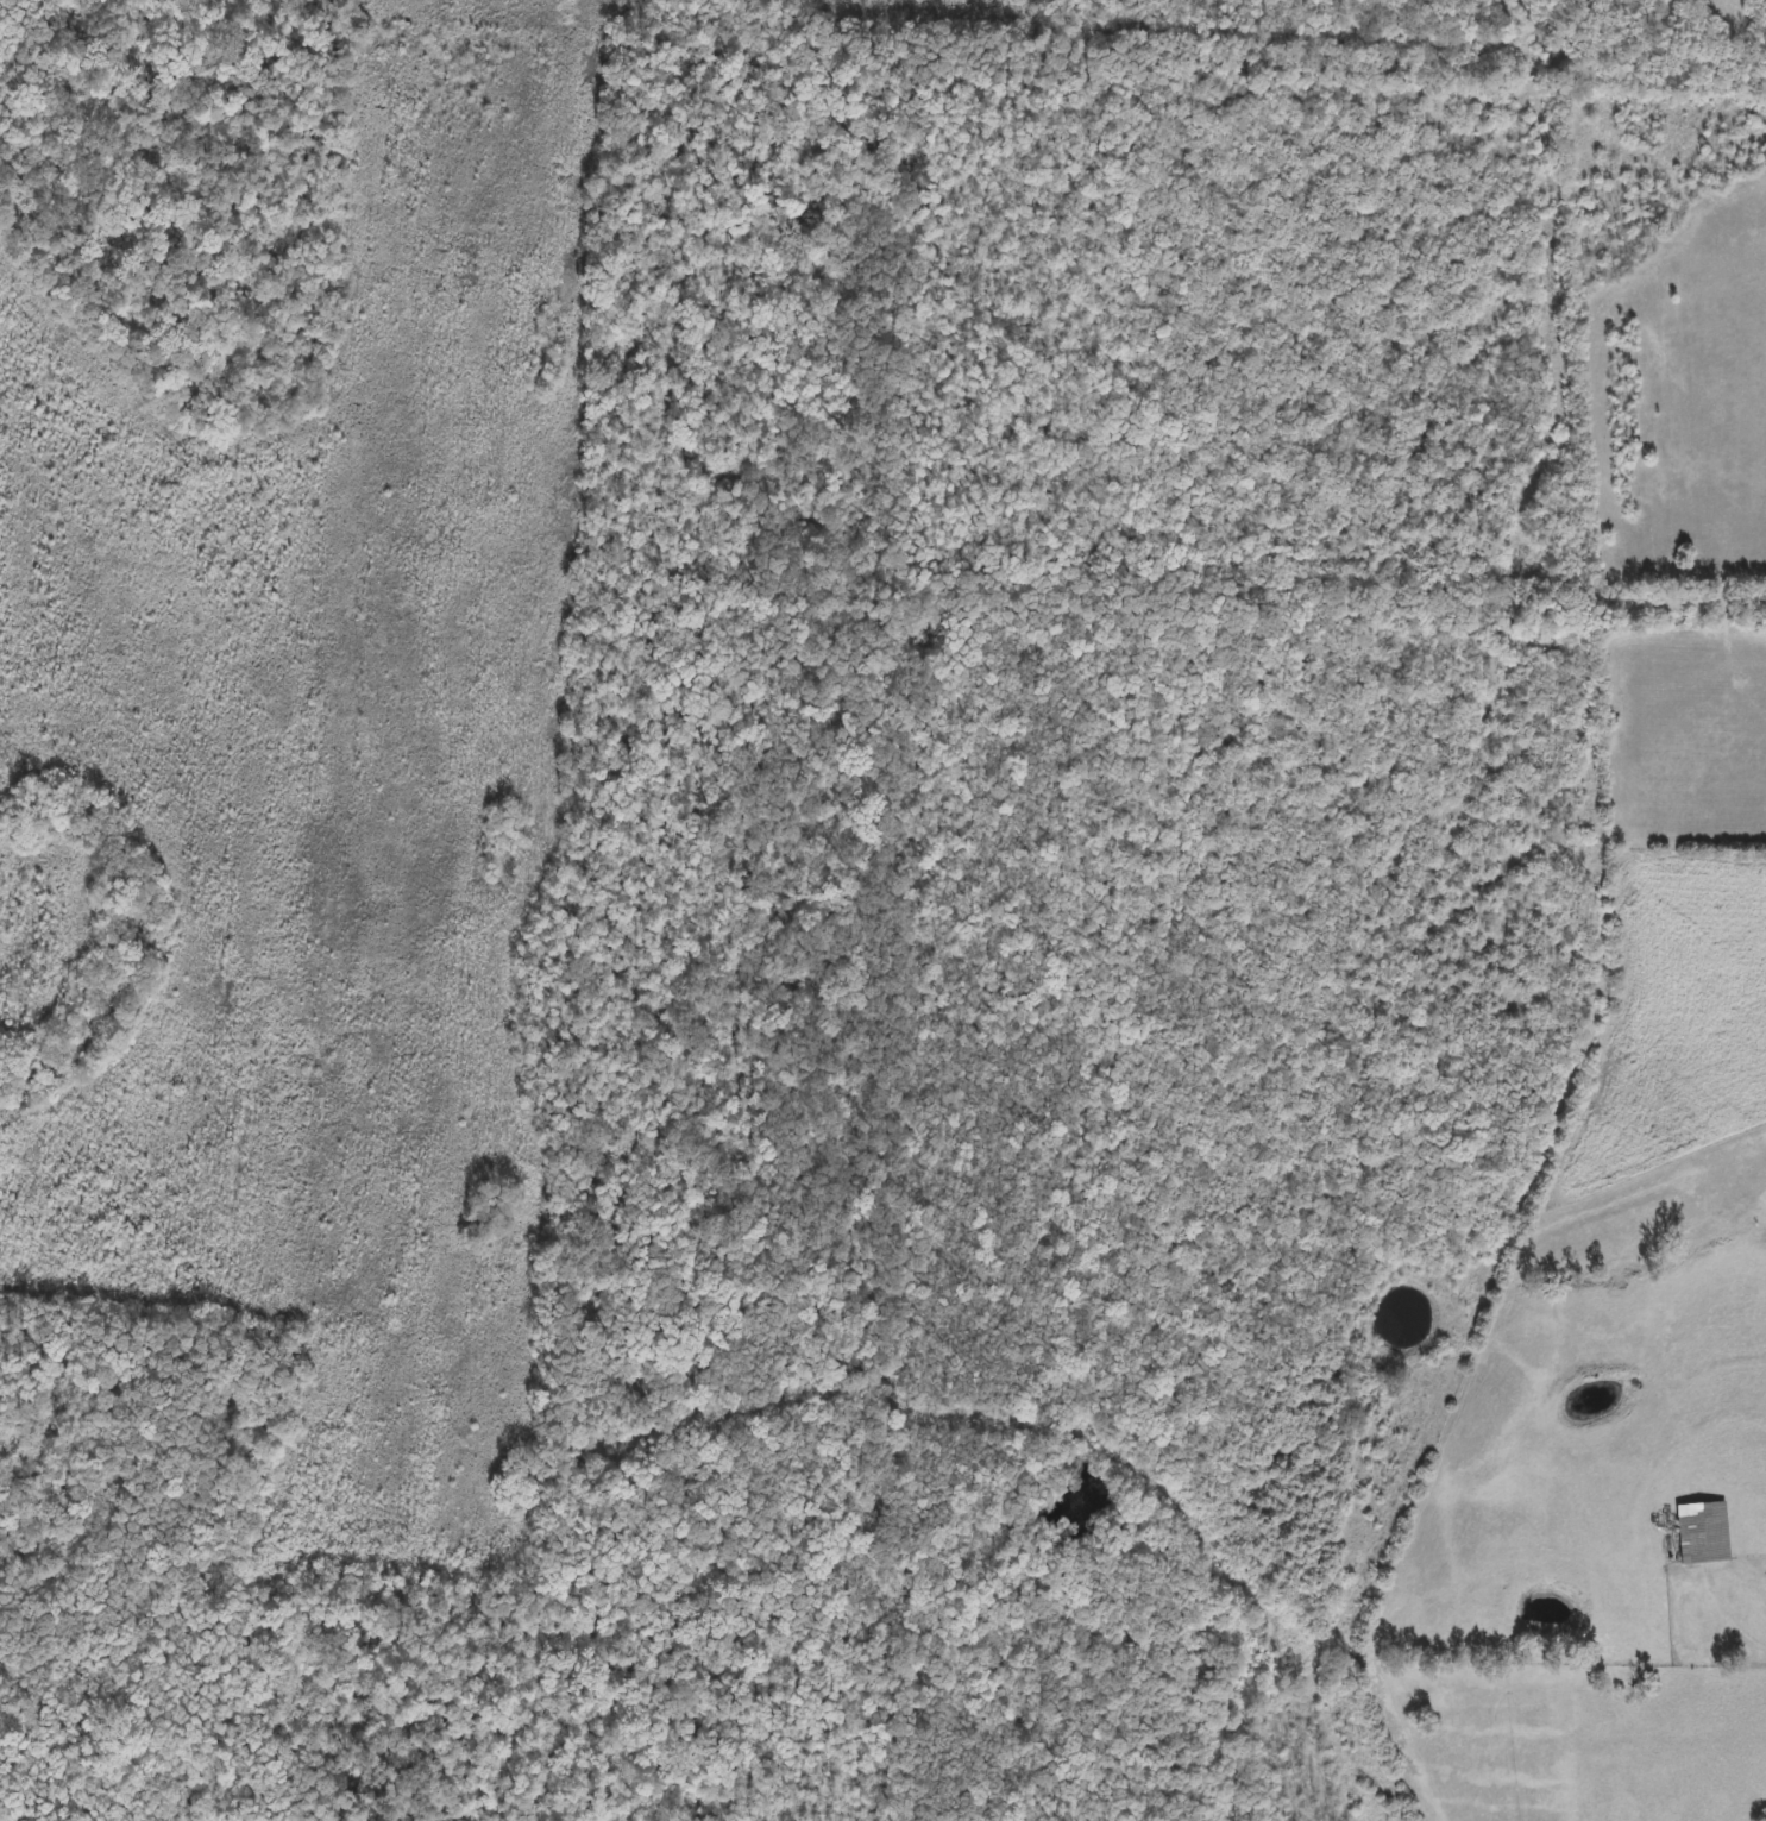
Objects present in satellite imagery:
building: (1703, 1534)
road: (1724, 1618)

